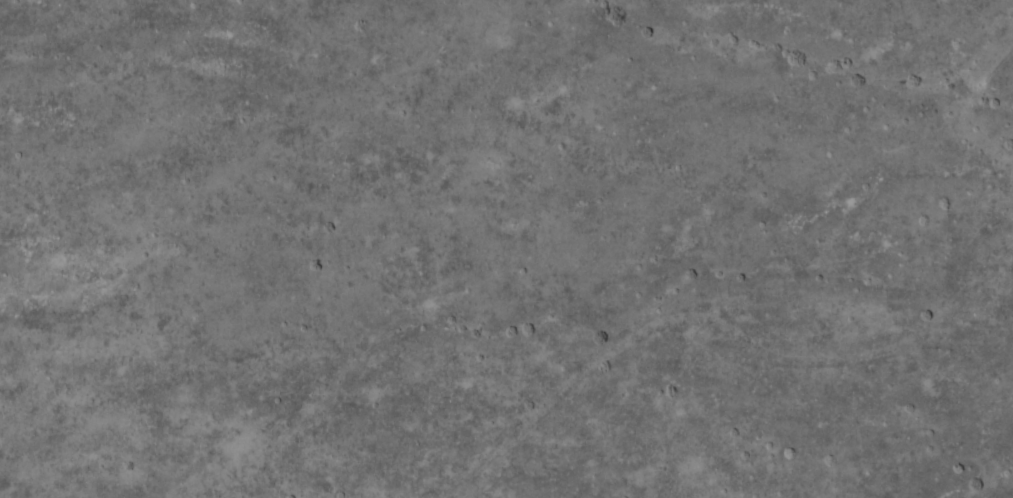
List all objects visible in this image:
road: (279, 251)

